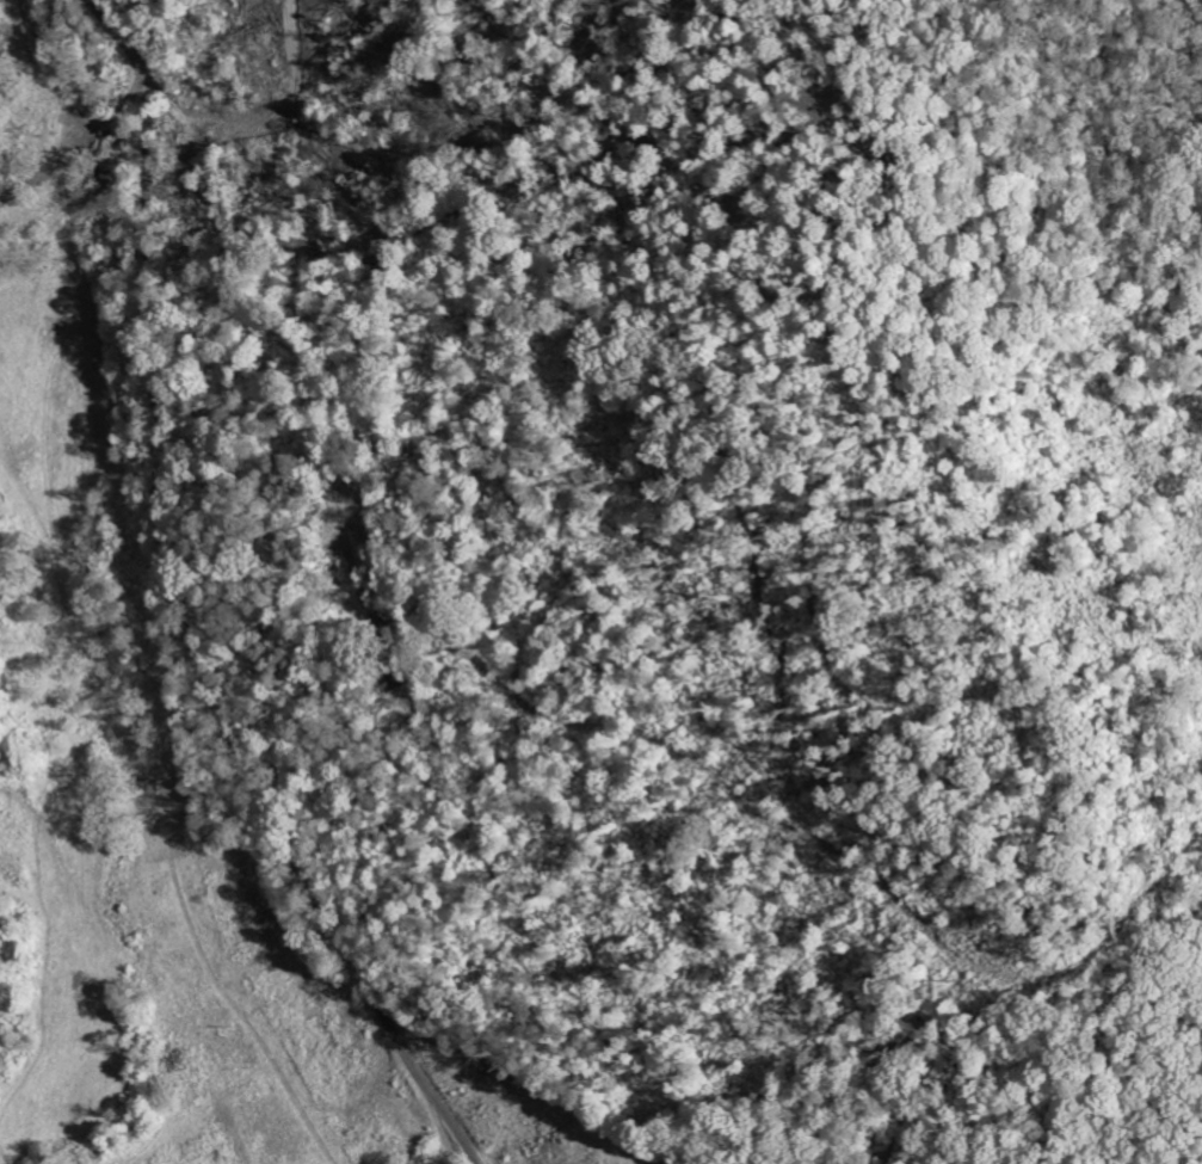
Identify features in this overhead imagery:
road: (186, 609)

